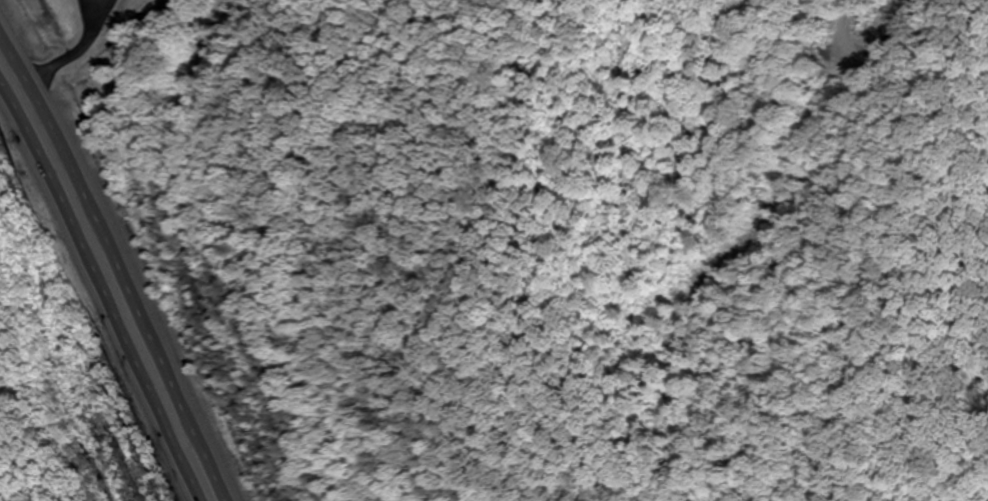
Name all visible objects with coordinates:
road: (118, 262)
road: (98, 295)

